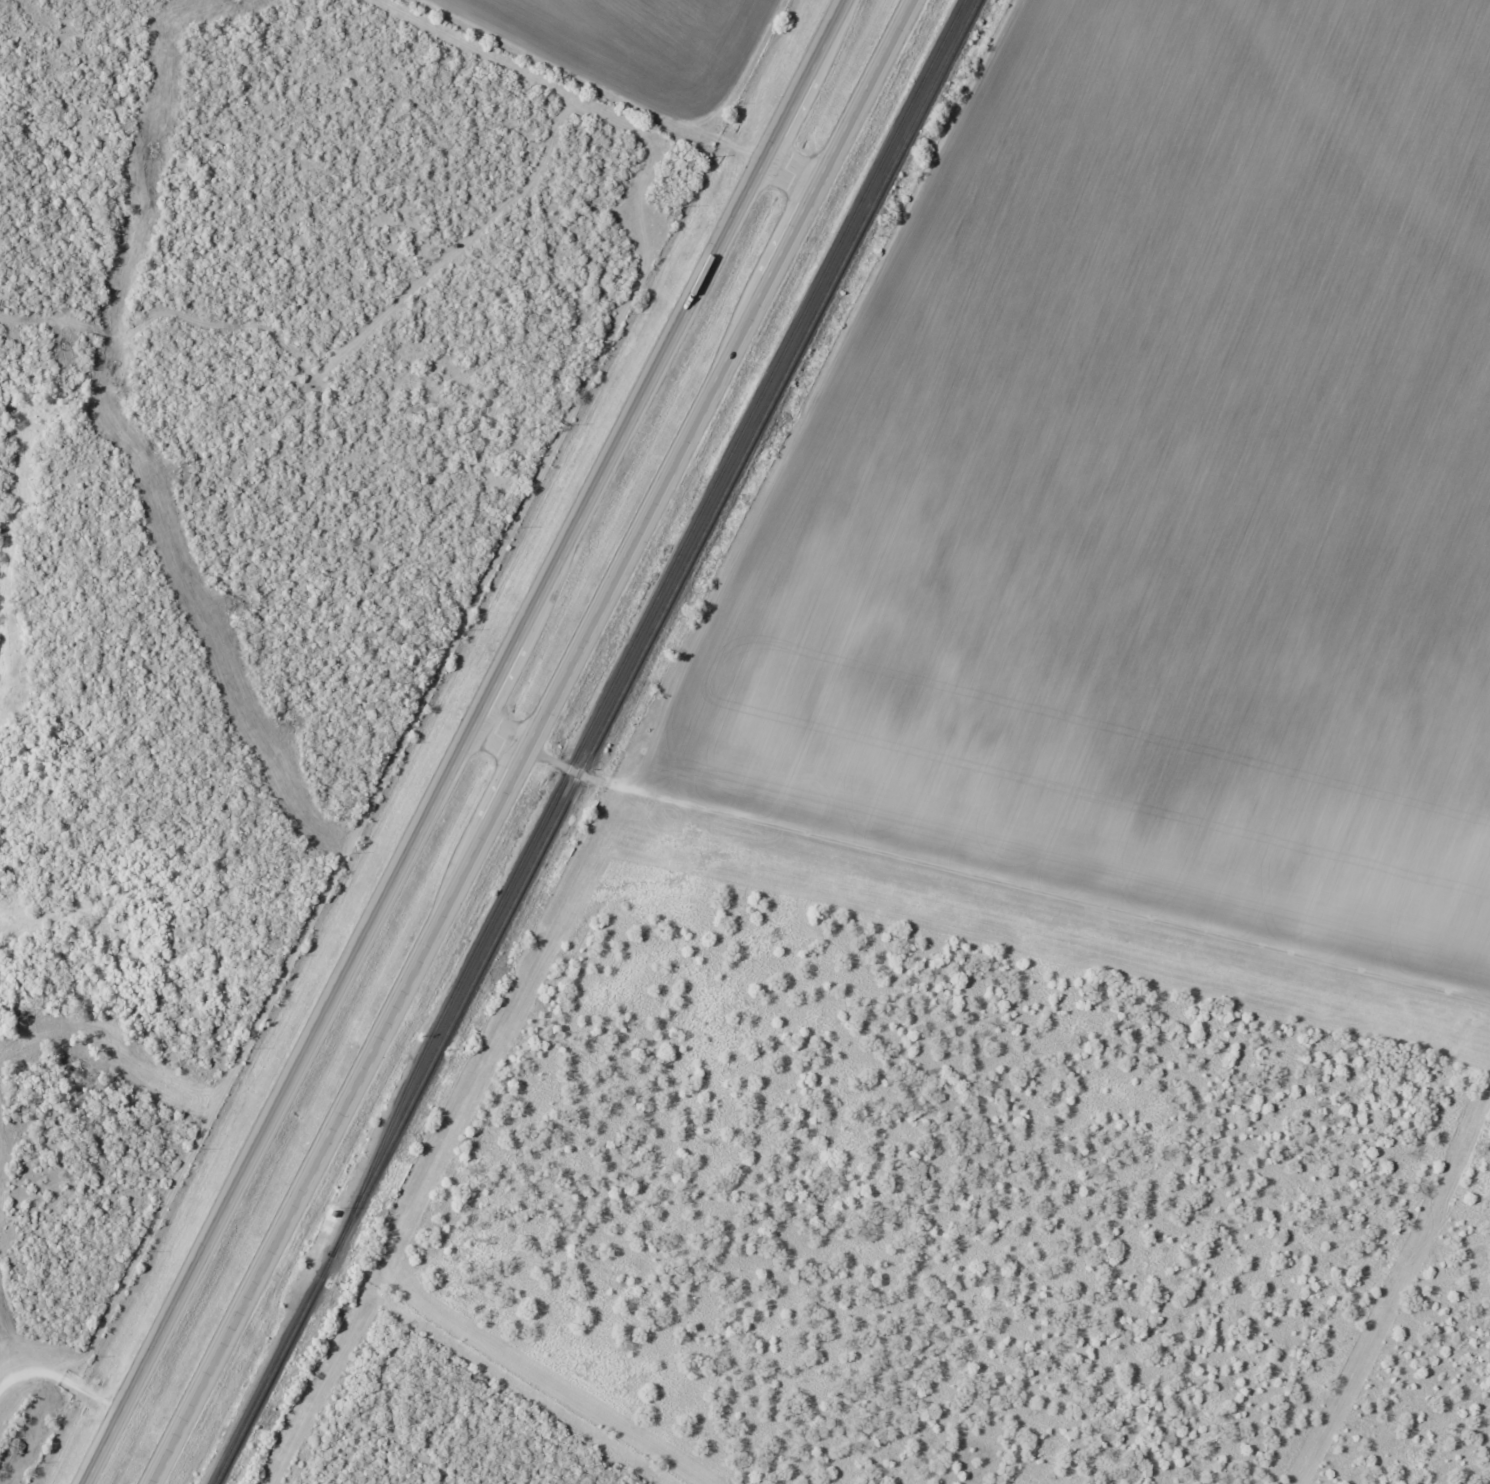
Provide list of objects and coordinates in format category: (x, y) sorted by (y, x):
road: (623, 94)
road: (535, 739)
railway: (595, 739)
road: (468, 744)
road: (979, 881)

